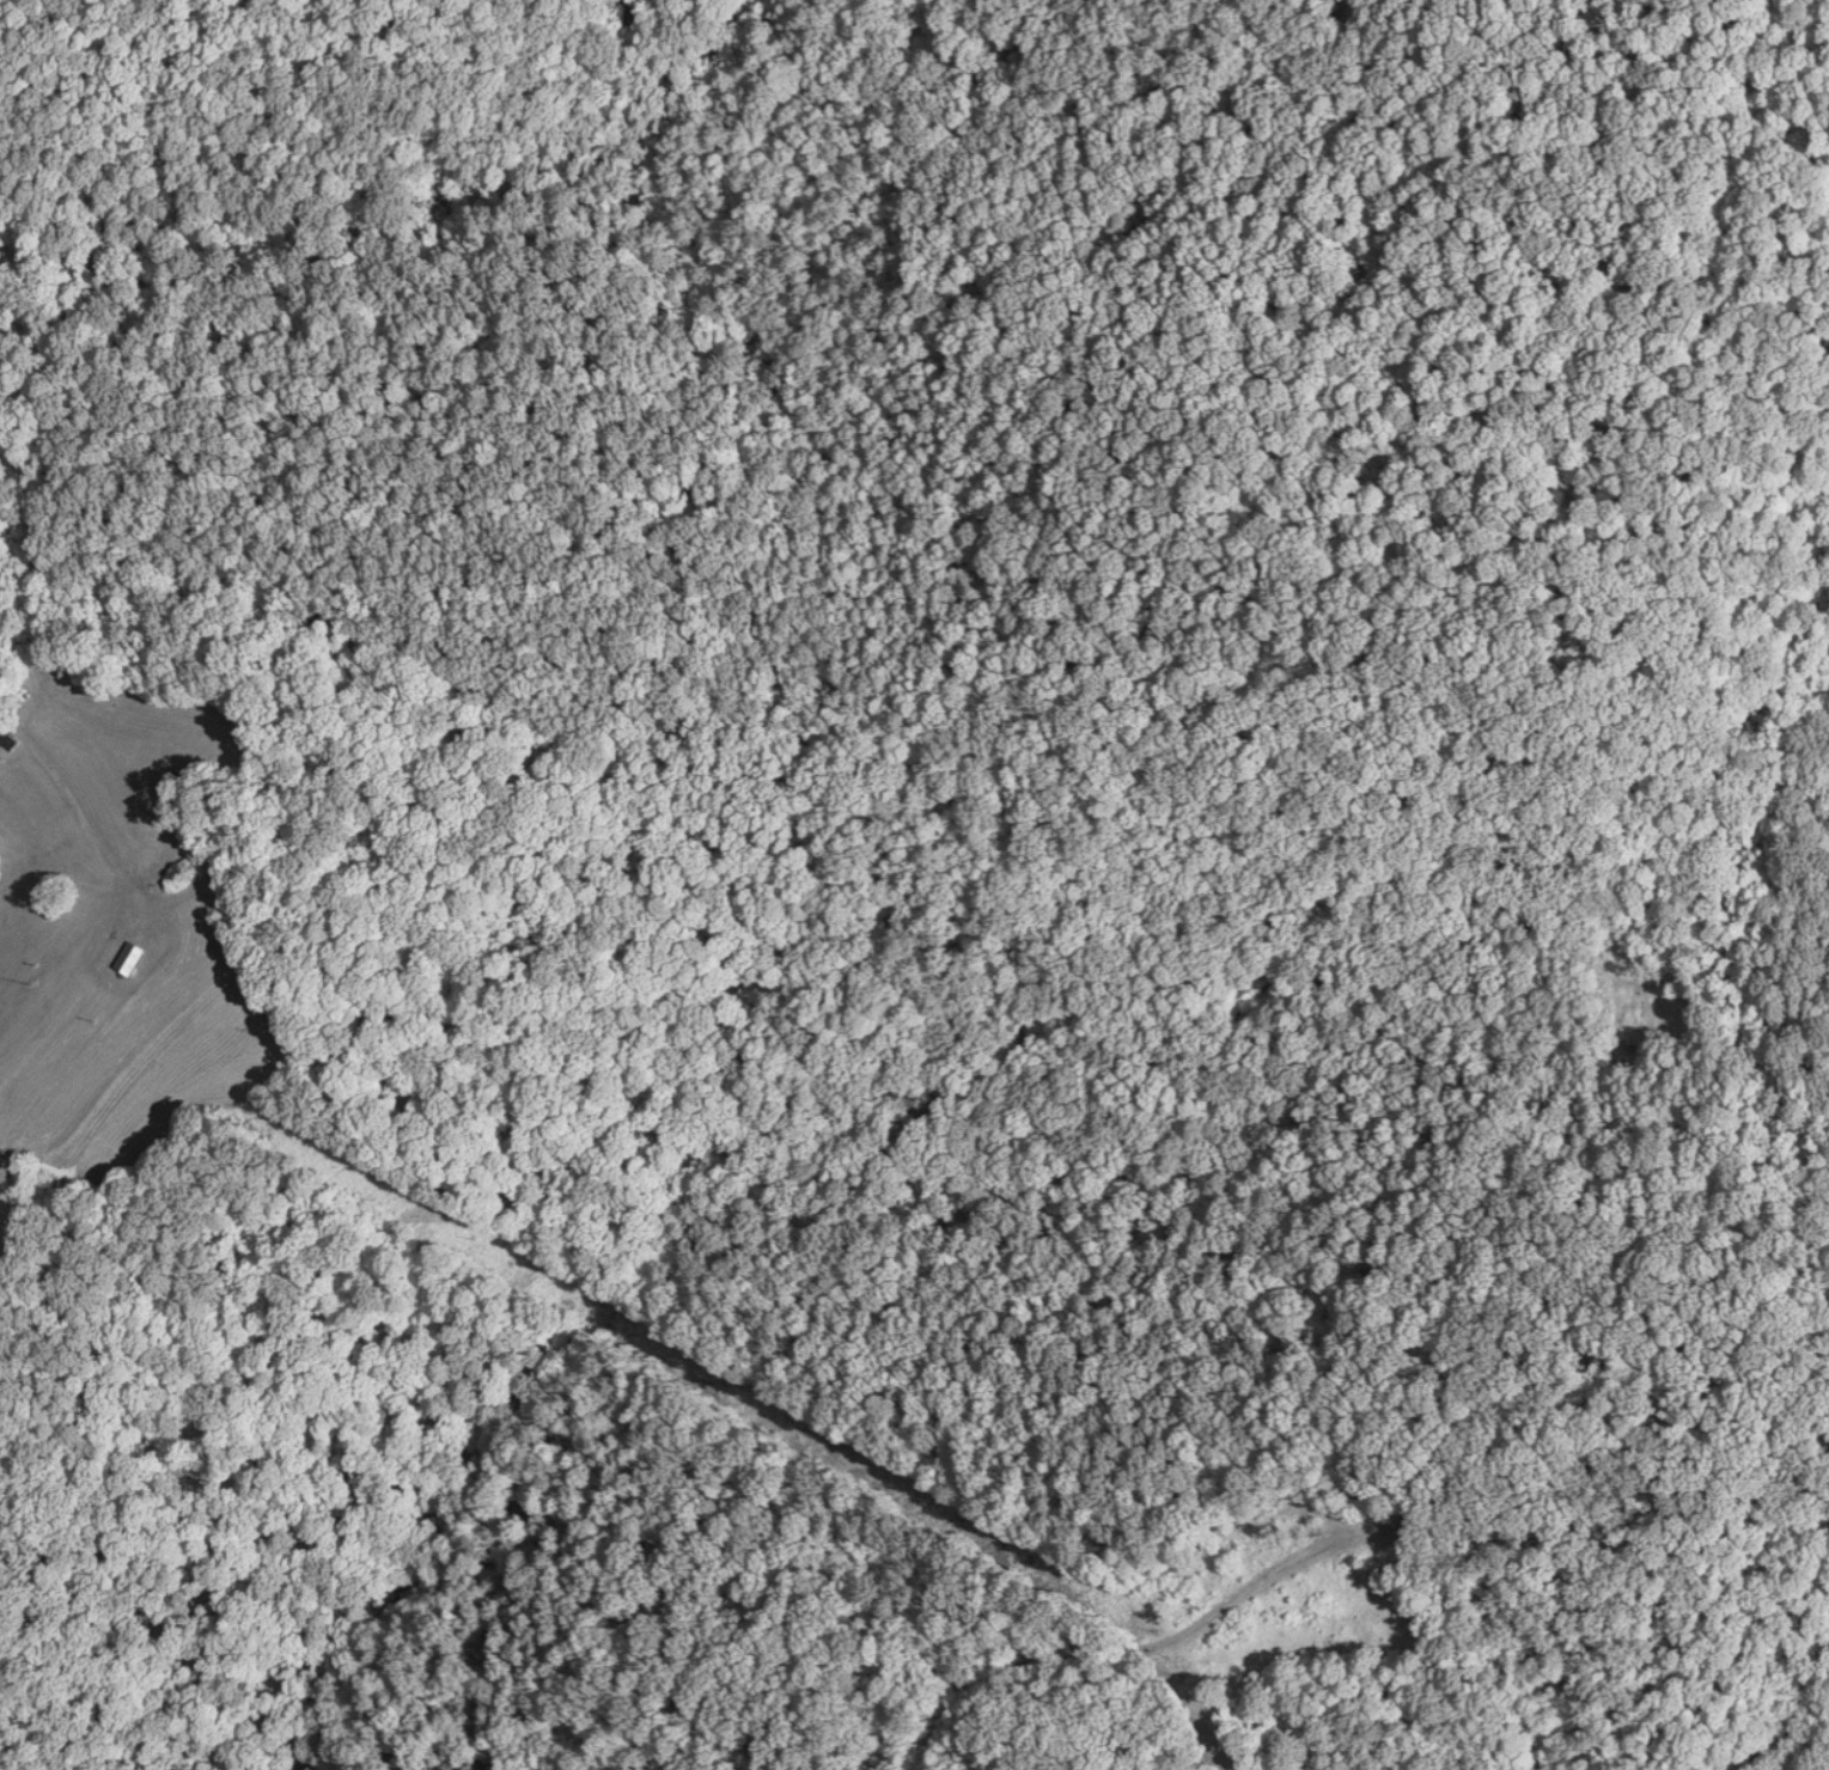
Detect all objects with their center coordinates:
building: (4, 743)
road: (96, 781)
building: (123, 957)

